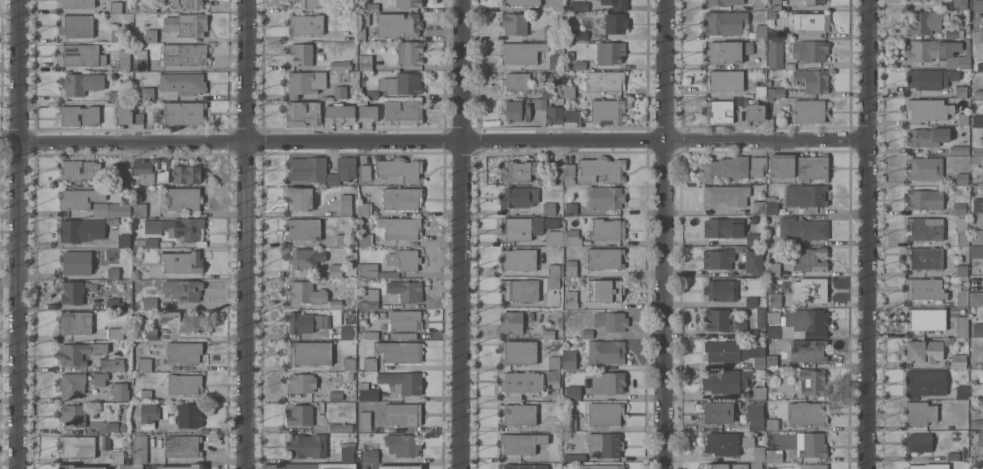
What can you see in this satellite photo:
building: (918, 0)
building: (521, 2)
building: (725, 2)
building: (813, 2)
building: (76, 3)
building: (189, 3)
building: (314, 3)
building: (408, 3)
building: (759, 3)
building: (960, 3)
building: (617, 4)
building: (774, 4)
building: (557, 5)
building: (578, 5)
building: (977, 5)
building: (115, 6)
building: (149, 6)
building: (347, 6)
building: (372, 7)
building: (559, 15)
building: (789, 18)
building: (812, 21)
building: (925, 21)
building: (615, 22)
building: (724, 22)
building: (307, 23)
building: (364, 23)
building: (398, 23)
building: (514, 23)
building: (186, 24)
building: (76, 25)
building: (149, 28)
building: (760, 31)
building: (549, 32)
building: (581, 33)
building: (951, 33)
building: (775, 34)
building: (978, 34)
building: (117, 35)
building: (763, 41)
building: (810, 49)
building: (931, 49)
building: (728, 50)
building: (410, 52)
building: (521, 52)
building: (610, 52)
building: (301, 53)
building: (775, 53)
building: (80, 54)
building: (184, 54)
building: (556, 58)
building: (124, 59)
building: (140, 60)
building: (963, 61)
building: (364, 62)
building: (340, 64)
building: (580, 64)
building: (980, 66)
building: (546, 77)
building: (343, 78)
building: (560, 79)
building: (812, 79)
building: (924, 79)
building: (605, 80)
building: (725, 80)
building: (516, 81)
building: (81, 82)
building: (182, 82)
building: (305, 82)
building: (401, 83)
building: (760, 90)
building: (340, 91)
building: (570, 91)
building: (961, 91)
building: (776, 92)
building: (147, 93)
building: (541, 93)
building: (978, 93)
building: (372, 94)
building: (117, 95)
building: (539, 103)
building: (774, 104)
building: (722, 109)
building: (928, 109)
building: (516, 110)
building: (607, 110)
building: (809, 110)
building: (403, 111)
building: (753, 111)
building: (123, 112)
building: (184, 112)
building: (339, 112)
building: (368, 112)
building: (303, 113)
building: (554, 114)
building: (571, 114)
building: (68, 116)
building: (138, 118)
building: (964, 118)
building: (977, 120)
building: (927, 136)
road: (433, 140)
building: (959, 149)
building: (978, 151)
building: (982, 161)
building: (757, 165)
building: (781, 165)
building: (725, 167)
building: (813, 167)
building: (924, 167)
building: (307, 168)
building: (400, 168)
building: (80, 169)
building: (601, 169)
building: (152, 170)
building: (343, 170)
building: (519, 170)
building: (364, 172)
building: (187, 173)
building: (557, 173)
building: (569, 173)
building: (126, 176)
building: (962, 178)
building: (116, 189)
building: (726, 194)
building: (805, 195)
building: (519, 196)
building: (300, 197)
building: (604, 197)
building: (78, 198)
building: (182, 198)
building: (402, 198)
building: (924, 199)
building: (345, 203)
building: (771, 205)
building: (978, 205)
building: (759, 206)
building: (364, 208)
building: (549, 208)
building: (571, 208)
building: (959, 208)
building: (111, 209)
building: (140, 209)
building: (134, 223)
building: (527, 226)
building: (175, 227)
building: (400, 227)
building: (718, 227)
building: (303, 228)
building: (802, 228)
building: (925, 228)
building: (81, 229)
building: (606, 229)
building: (962, 231)
road: (20, 234)
road: (245, 234)
road: (459, 234)
road: (661, 234)
road: (868, 234)
building: (978, 236)
building: (553, 237)
building: (571, 237)
building: (342, 239)
building: (365, 239)
building: (752, 239)
building: (124, 240)
building: (147, 242)
building: (976, 251)
building: (306, 257)
building: (604, 257)
building: (717, 258)
building: (809, 258)
building: (924, 258)
building: (519, 259)
building: (181, 261)
building: (77, 262)
building: (753, 262)
building: (392, 264)
building: (571, 267)
building: (774, 268)
building: (335, 269)
building: (962, 269)
building: (555, 270)
building: (118, 272)
building: (554, 281)
building: (106, 284)
building: (926, 288)
building: (128, 289)
building: (520, 289)
building: (605, 289)
building: (721, 289)
building: (810, 289)
building: (189, 290)
building: (405, 290)
building: (72, 292)
building: (307, 292)
building: (962, 297)
building: (369, 298)
building: (976, 298)
building: (570, 299)
building: (774, 299)
building: (750, 301)
building: (114, 303)
building: (150, 303)
building: (334, 303)
building: (383, 314)
building: (757, 315)
building: (531, 316)
building: (806, 318)
building: (183, 319)
building: (610, 319)
building: (925, 319)
building: (345, 320)
building: (404, 320)
building: (718, 320)
building: (76, 321)
building: (304, 321)
building: (511, 322)
building: (961, 326)
building: (978, 329)
building: (566, 331)
building: (774, 331)
building: (347, 332)
building: (586, 332)
building: (115, 333)
building: (151, 333)
building: (548, 333)
building: (751, 333)
building: (369, 334)
building: (403, 335)
building: (400, 350)
building: (722, 350)
building: (807, 350)
building: (922, 350)
building: (79, 351)
building: (184, 351)
building: (519, 351)
building: (605, 351)
building: (310, 352)
building: (569, 359)
building: (771, 360)
building: (958, 360)
building: (553, 361)
building: (349, 362)
building: (759, 362)
building: (144, 363)
building: (370, 363)
building: (112, 364)
building: (350, 374)
building: (553, 377)
building: (100, 378)
building: (726, 380)
building: (402, 381)
building: (811, 381)
building: (925, 381)
building: (301, 382)
building: (605, 382)
building: (71, 383)
building: (184, 383)
building: (520, 383)
building: (119, 391)
building: (961, 391)
building: (367, 392)
building: (572, 392)
building: (758, 392)
building: (145, 394)
building: (335, 395)
building: (717, 411)
building: (605, 412)
building: (807, 412)
building: (920, 412)
building: (151, 413)
building: (402, 413)
building: (73, 414)
building: (301, 414)
building: (518, 414)
building: (189, 415)
building: (755, 416)
building: (364, 419)
building: (570, 421)
building: (976, 422)
building: (771, 423)
building: (112, 426)
building: (340, 427)
building: (980, 438)
building: (918, 441)
building: (521, 442)
building: (721, 443)
building: (402, 444)
building: (605, 444)
building: (182, 445)
building: (307, 445)
building: (813, 445)
building: (77, 446)
building: (754, 447)
building: (140, 448)
building: (348, 452)
building: (370, 455)
building: (952, 455)
building: (117, 456)
building: (774, 456)
building: (574, 457)
building: (978, 463)
building: (726, 465)
building: (756, 465)
building: (126, 466)
building: (137, 466)
building: (310, 466)
building: (399, 466)
building: (523, 466)
building: (602, 466)
building: (813, 466)
building: (928, 466)
building: (79, 467)
building: (183, 467)

